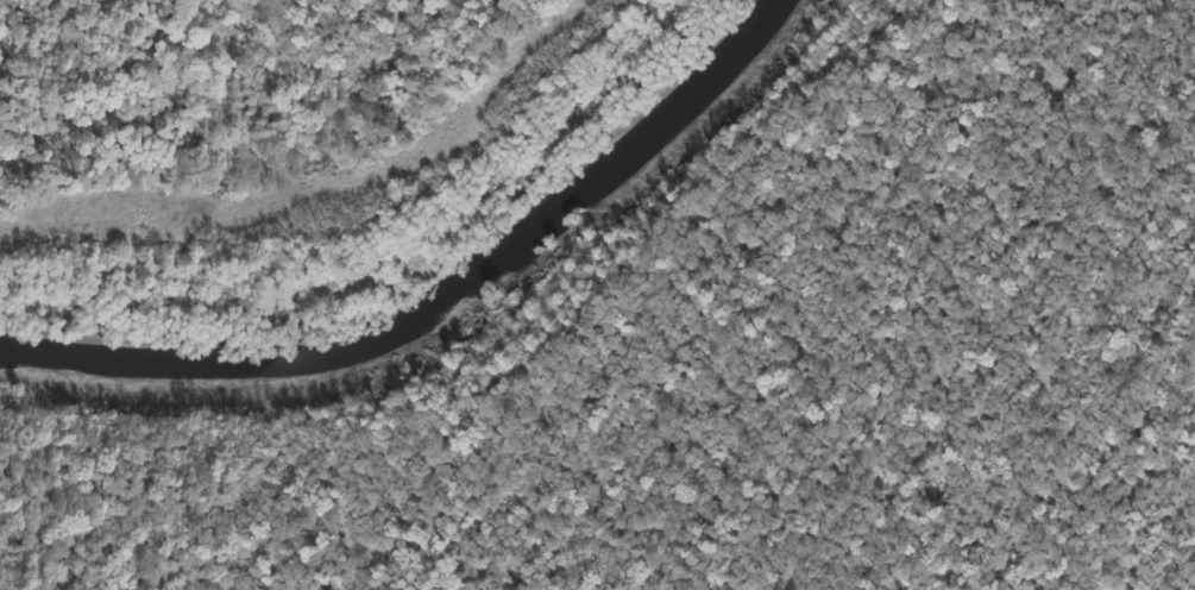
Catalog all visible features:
river: (426, 290)

